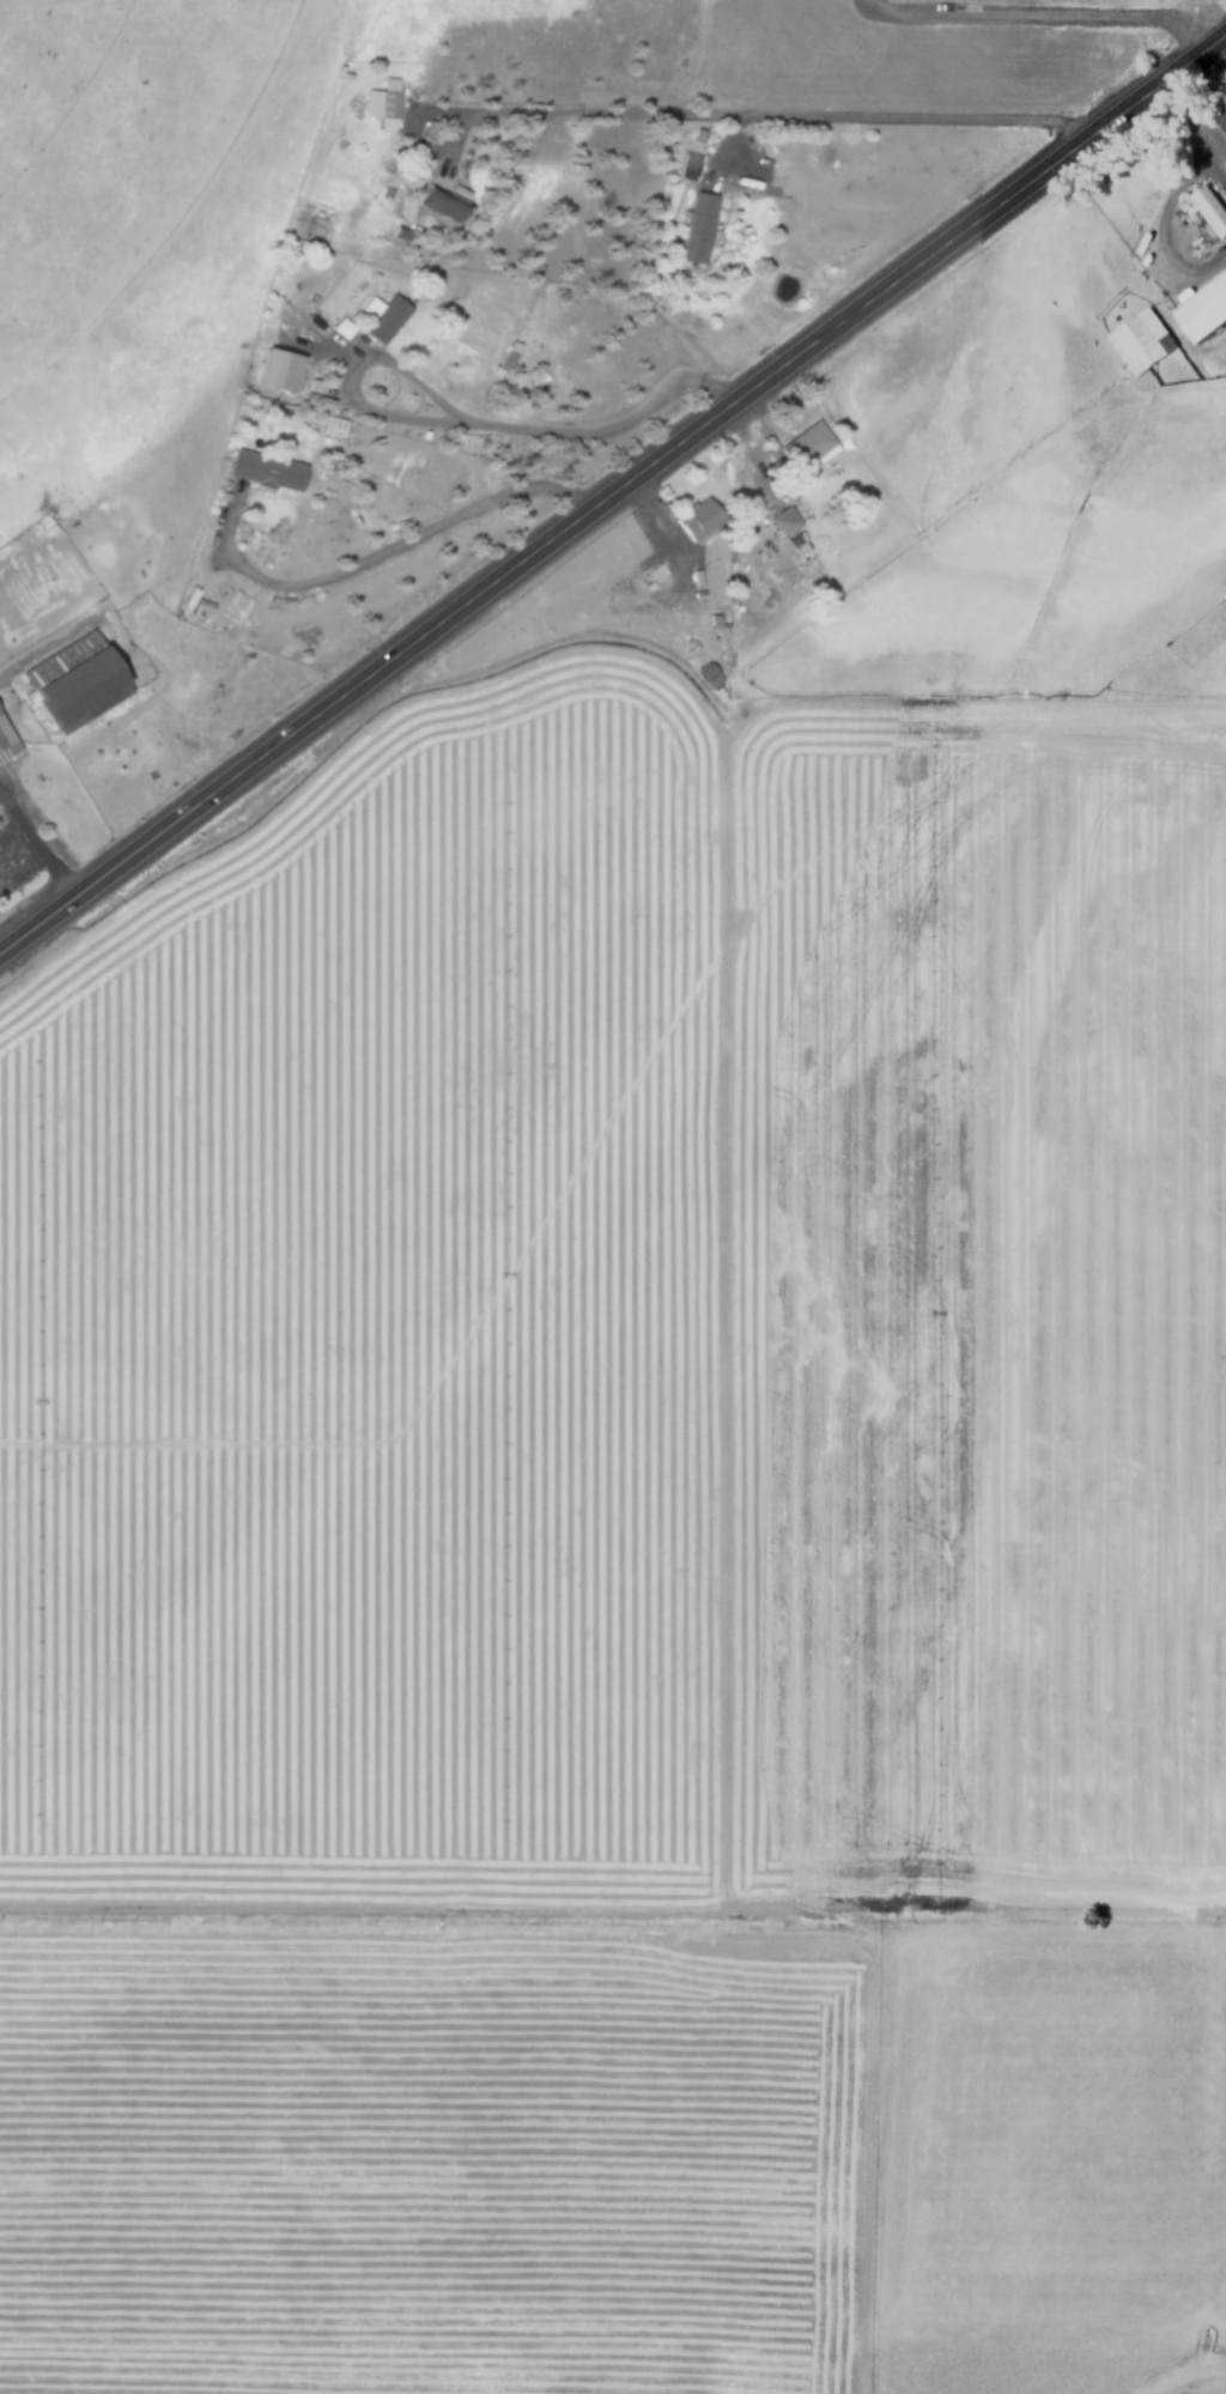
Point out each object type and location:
building: (383, 103)
road: (760, 114)
building: (1221, 119)
building: (437, 201)
building: (1209, 208)
building: (697, 226)
building: (1202, 308)
building: (380, 317)
building: (341, 327)
building: (1139, 340)
building: (273, 369)
road: (474, 424)
building: (807, 447)
building: (262, 469)
road: (615, 497)
building: (698, 519)
road: (423, 532)
building: (576, 608)
building: (71, 681)
building: (6, 741)
road: (40, 842)
building: (8, 853)
crop: (632, 1392)

